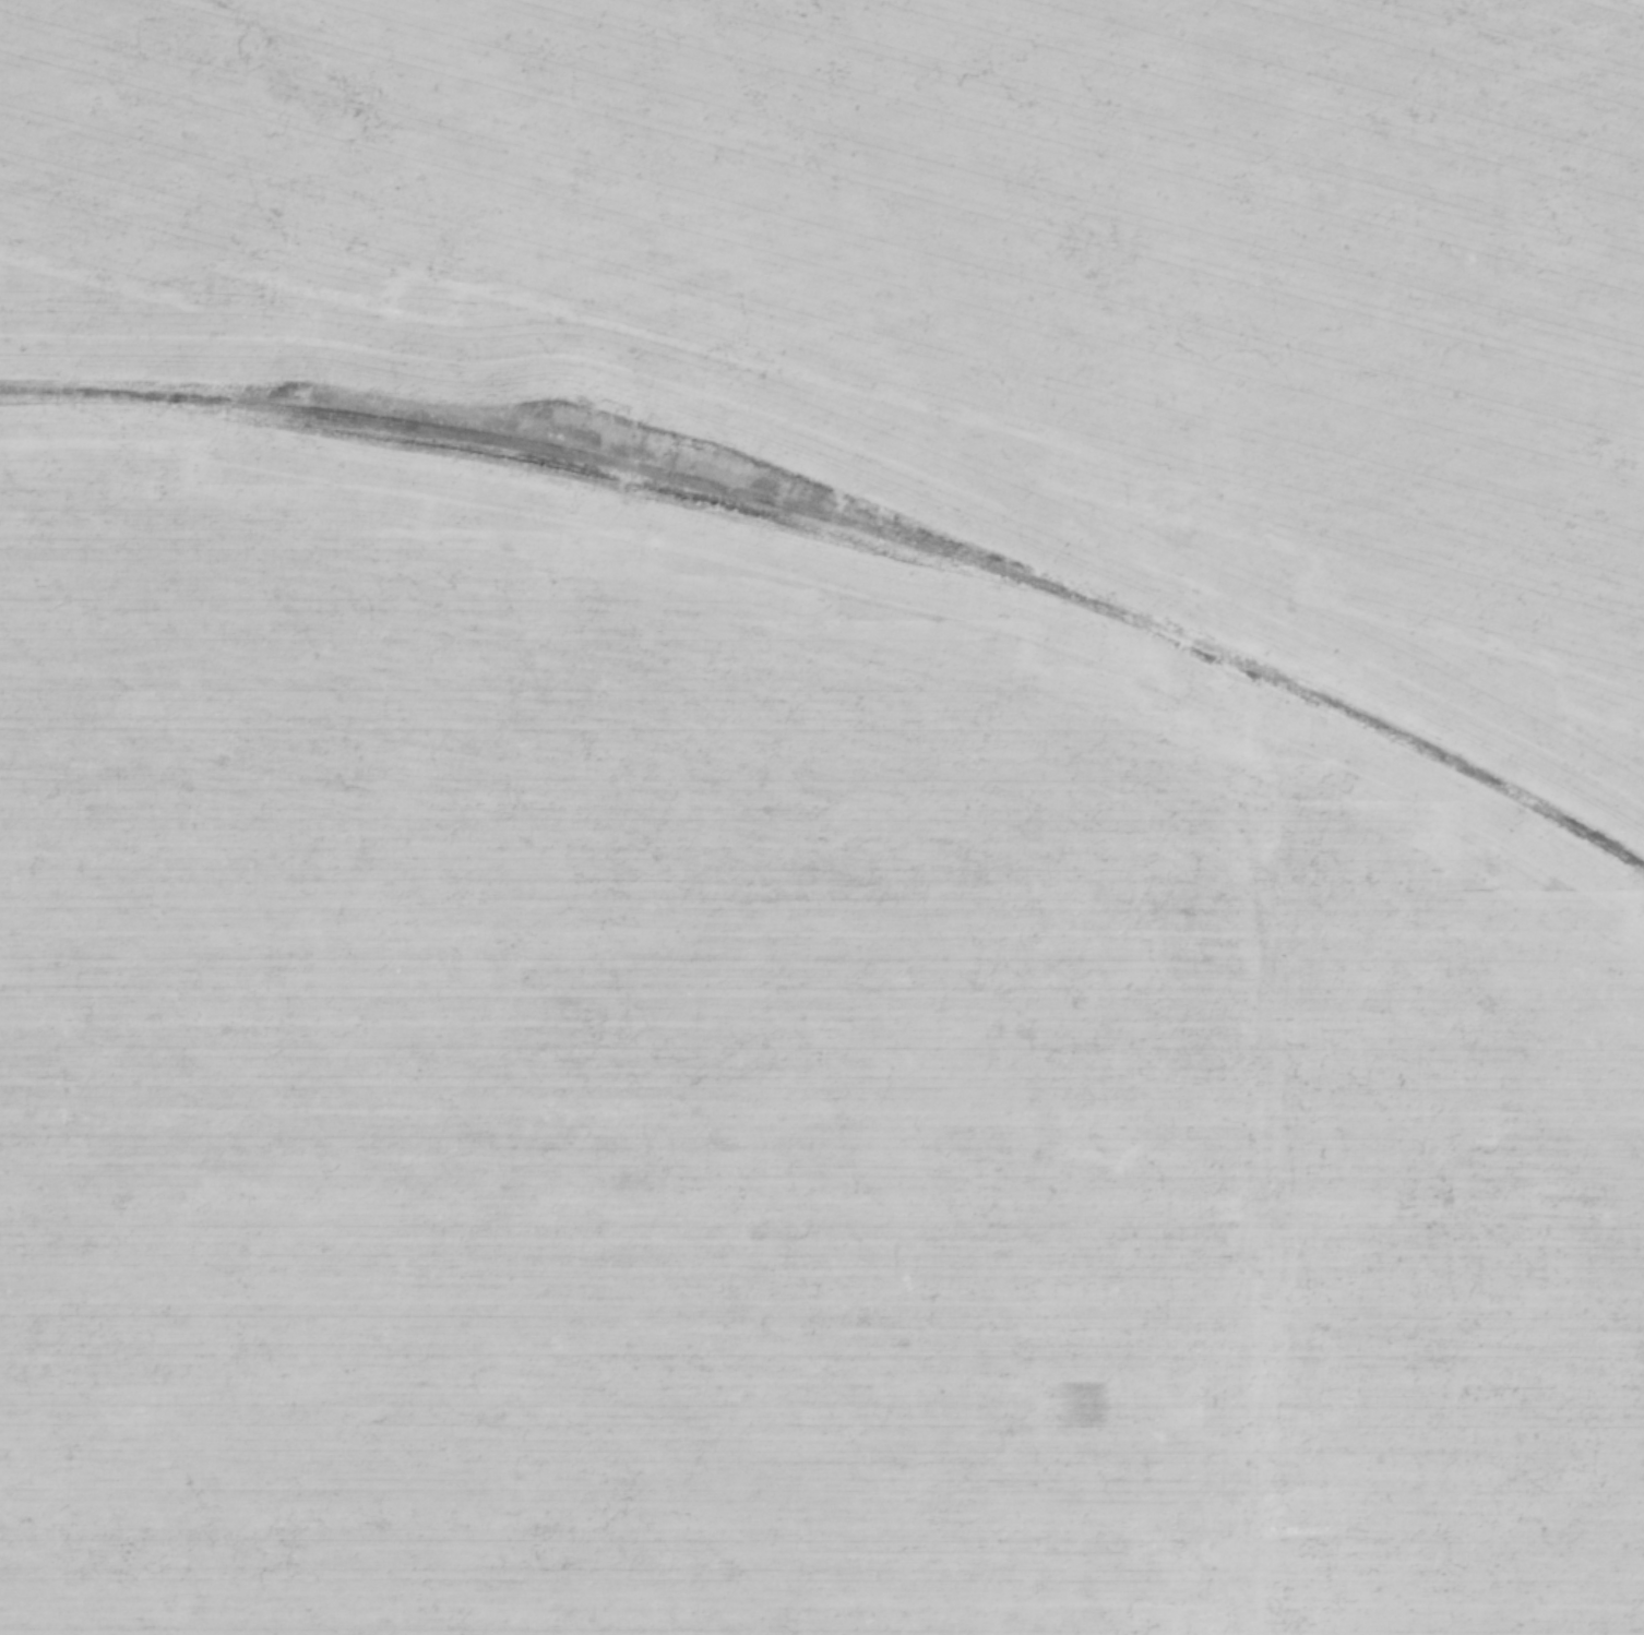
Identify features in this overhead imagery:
road: (1266, 1185)

